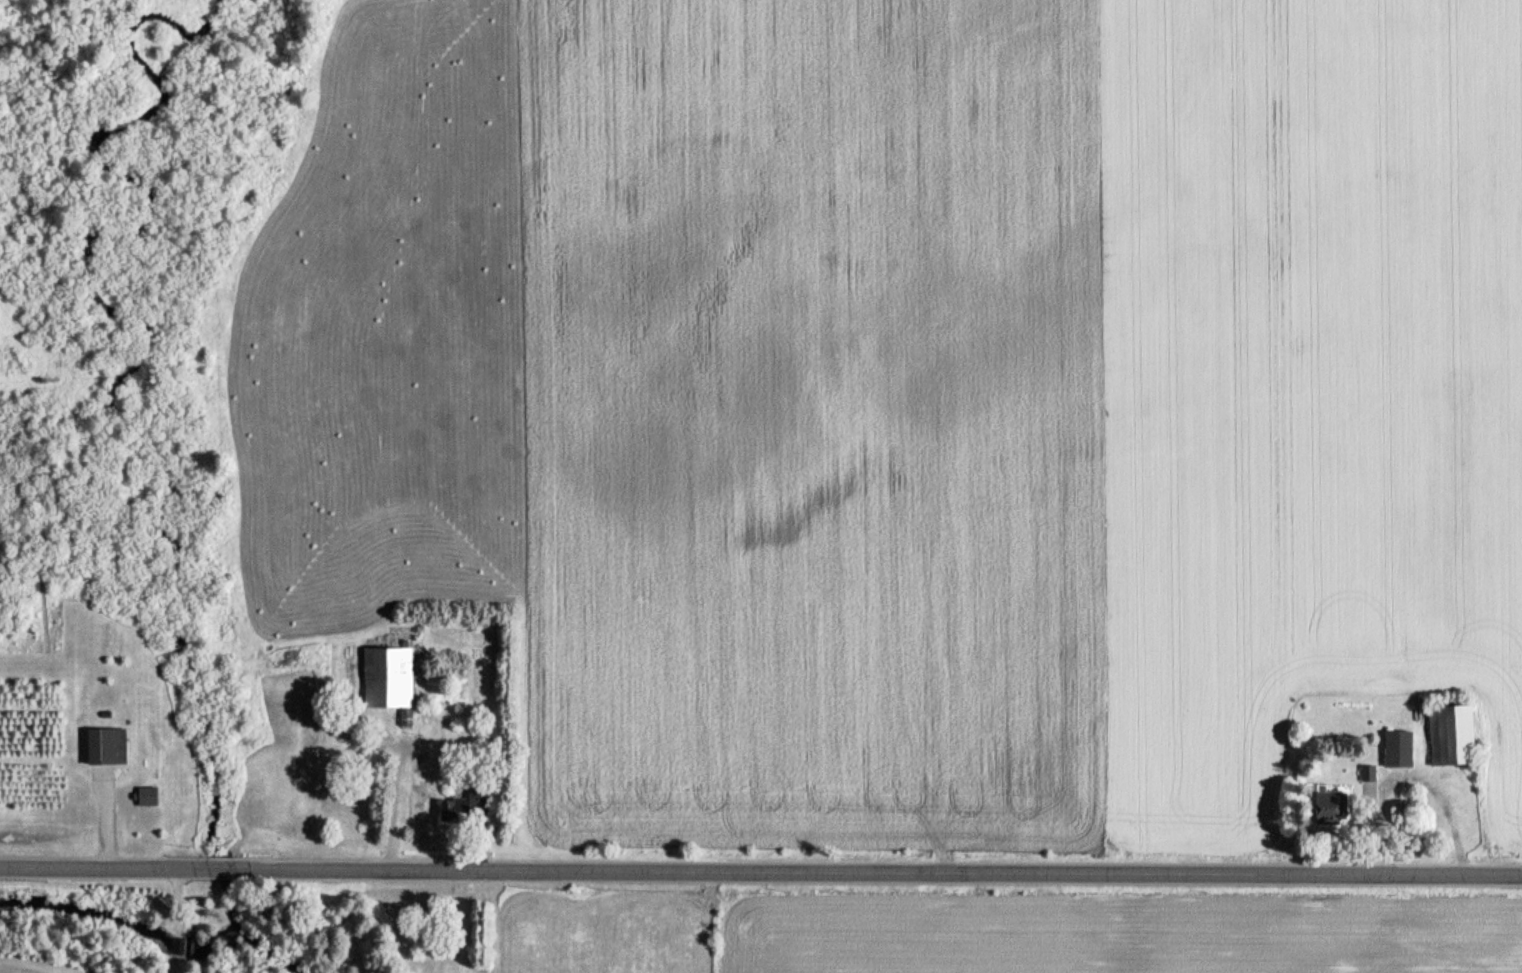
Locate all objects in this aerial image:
building: (386, 678)
building: (408, 718)
building: (343, 725)
building: (1449, 734)
building: (107, 744)
building: (1397, 748)
building: (1368, 772)
building: (145, 794)
building: (1328, 803)
building: (465, 805)
road: (96, 864)
road: (237, 865)
road: (901, 871)
river: (278, 951)

